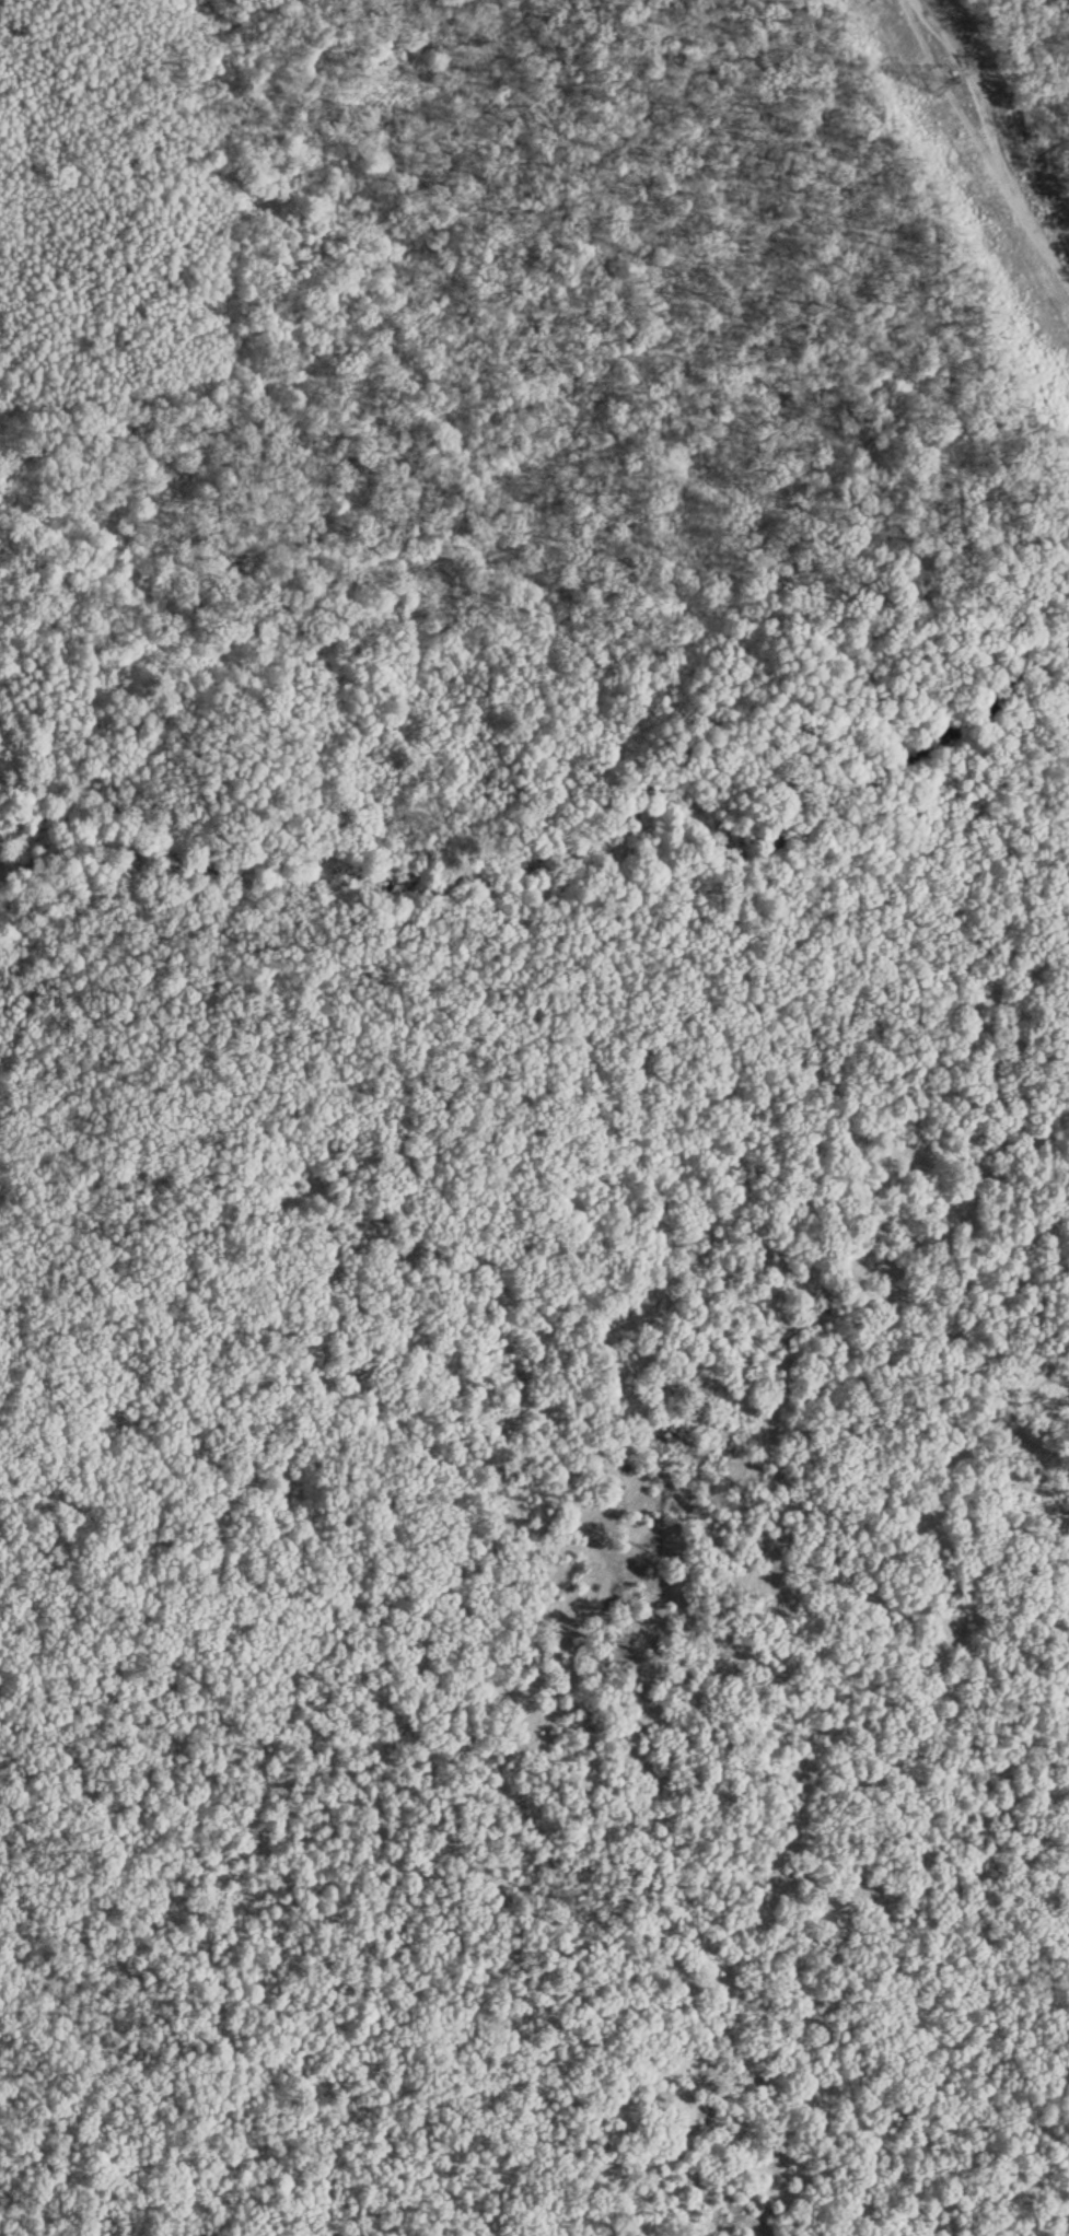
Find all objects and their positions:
power tower: (932, 73)

